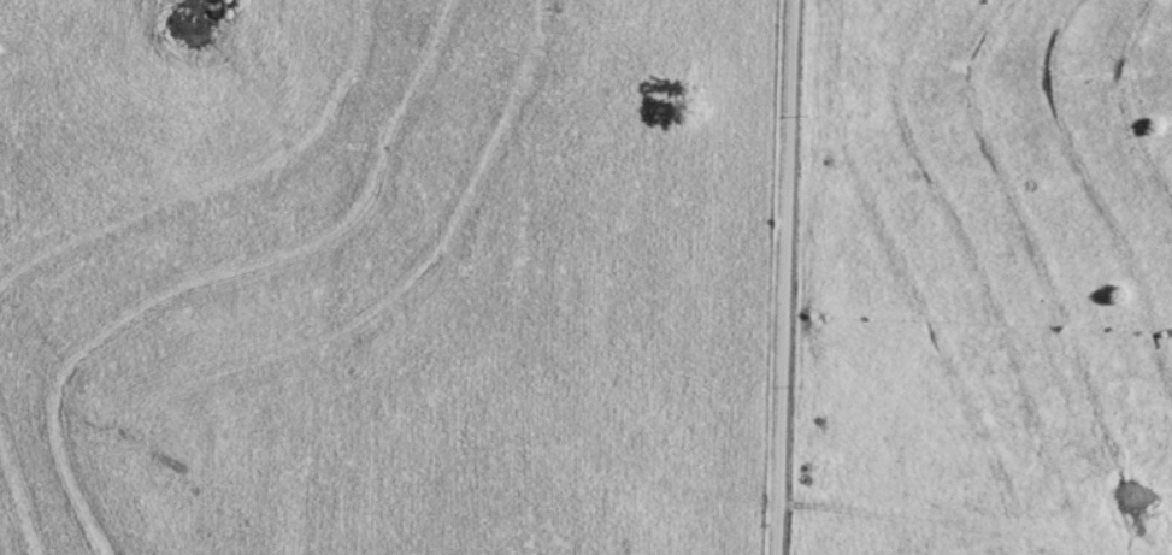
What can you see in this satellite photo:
road: (781, 277)

